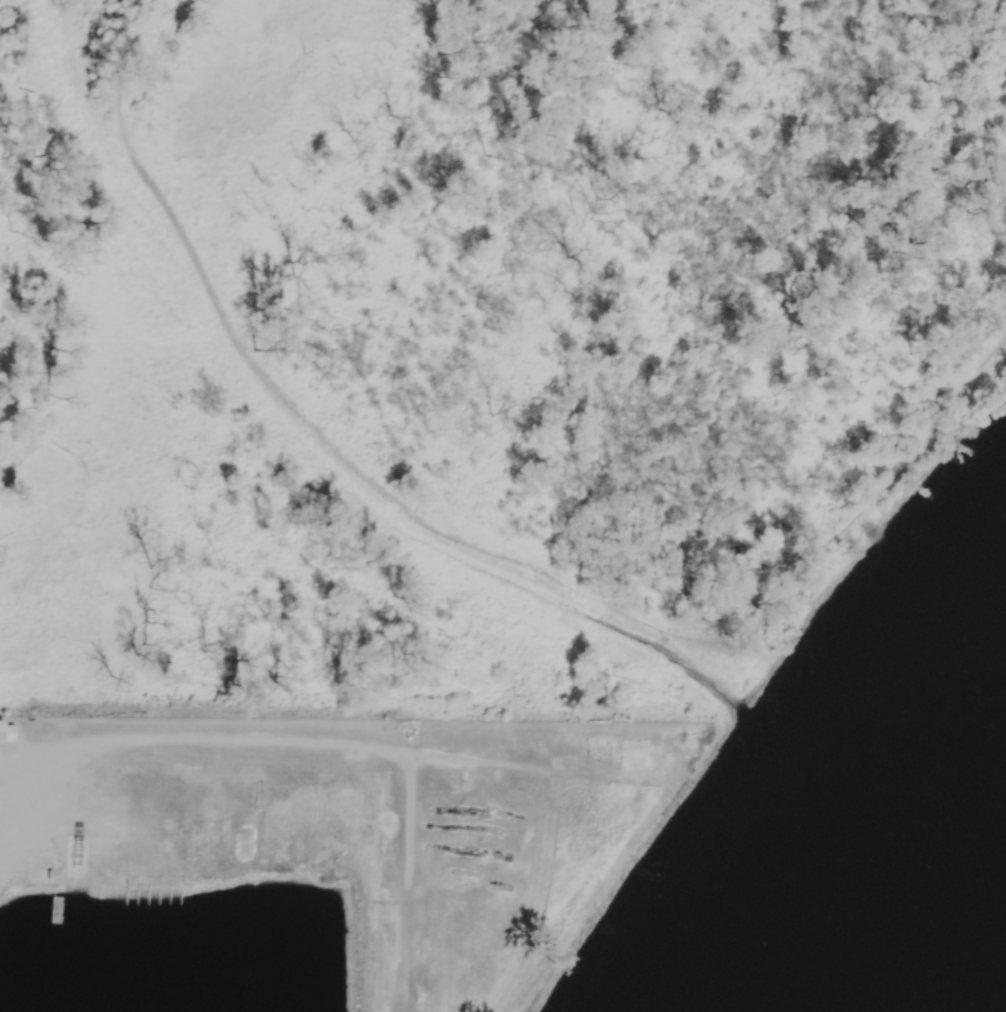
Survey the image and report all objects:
park: (477, 344)
road: (479, 547)
building: (4, 730)
road: (226, 738)
road: (31, 761)
road: (488, 763)
road: (31, 796)
road: (405, 880)
river: (905, 888)
building: (175, 1003)

